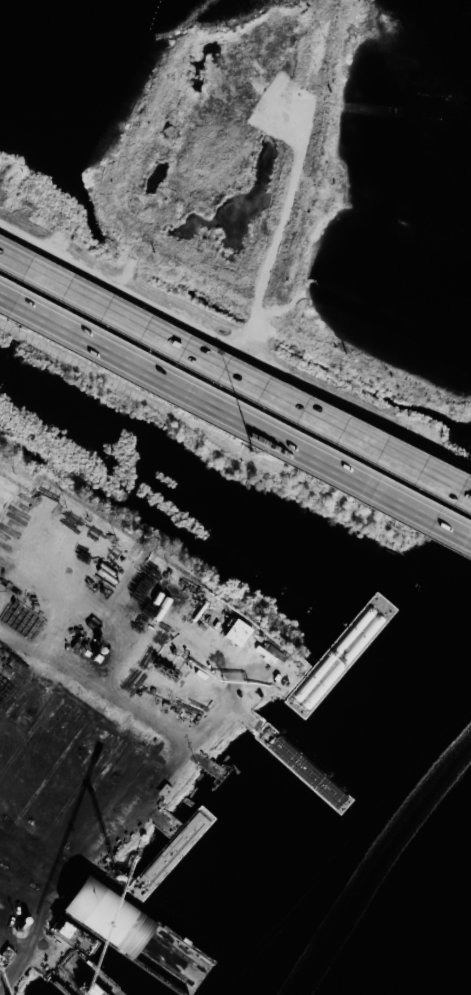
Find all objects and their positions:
landfill: (308, 177)
road: (235, 378)
road: (235, 420)
building: (241, 635)
building: (113, 759)
road: (149, 784)
building: (172, 862)
road: (32, 875)
road: (70, 885)
building: (3, 890)
river: (398, 900)
building: (109, 917)

